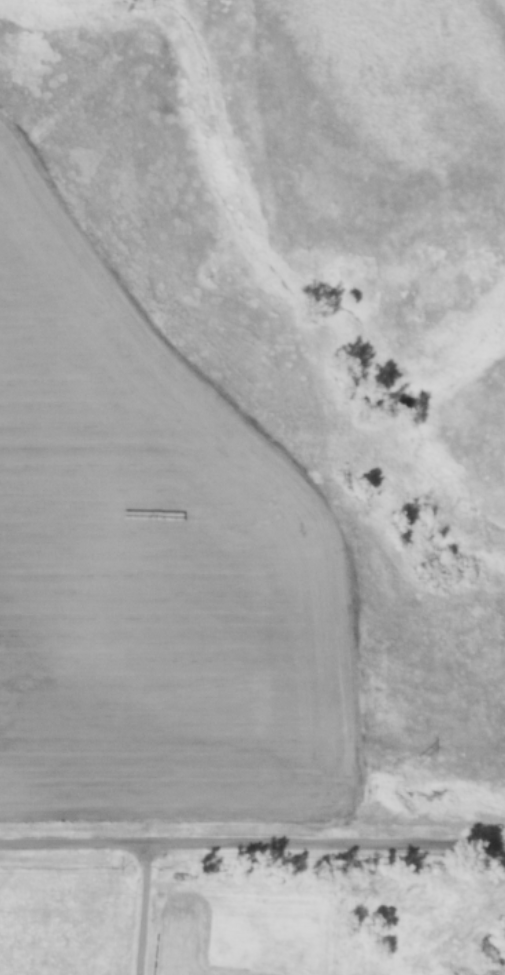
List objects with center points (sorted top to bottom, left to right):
power tower: (415, 761)
road: (252, 844)

